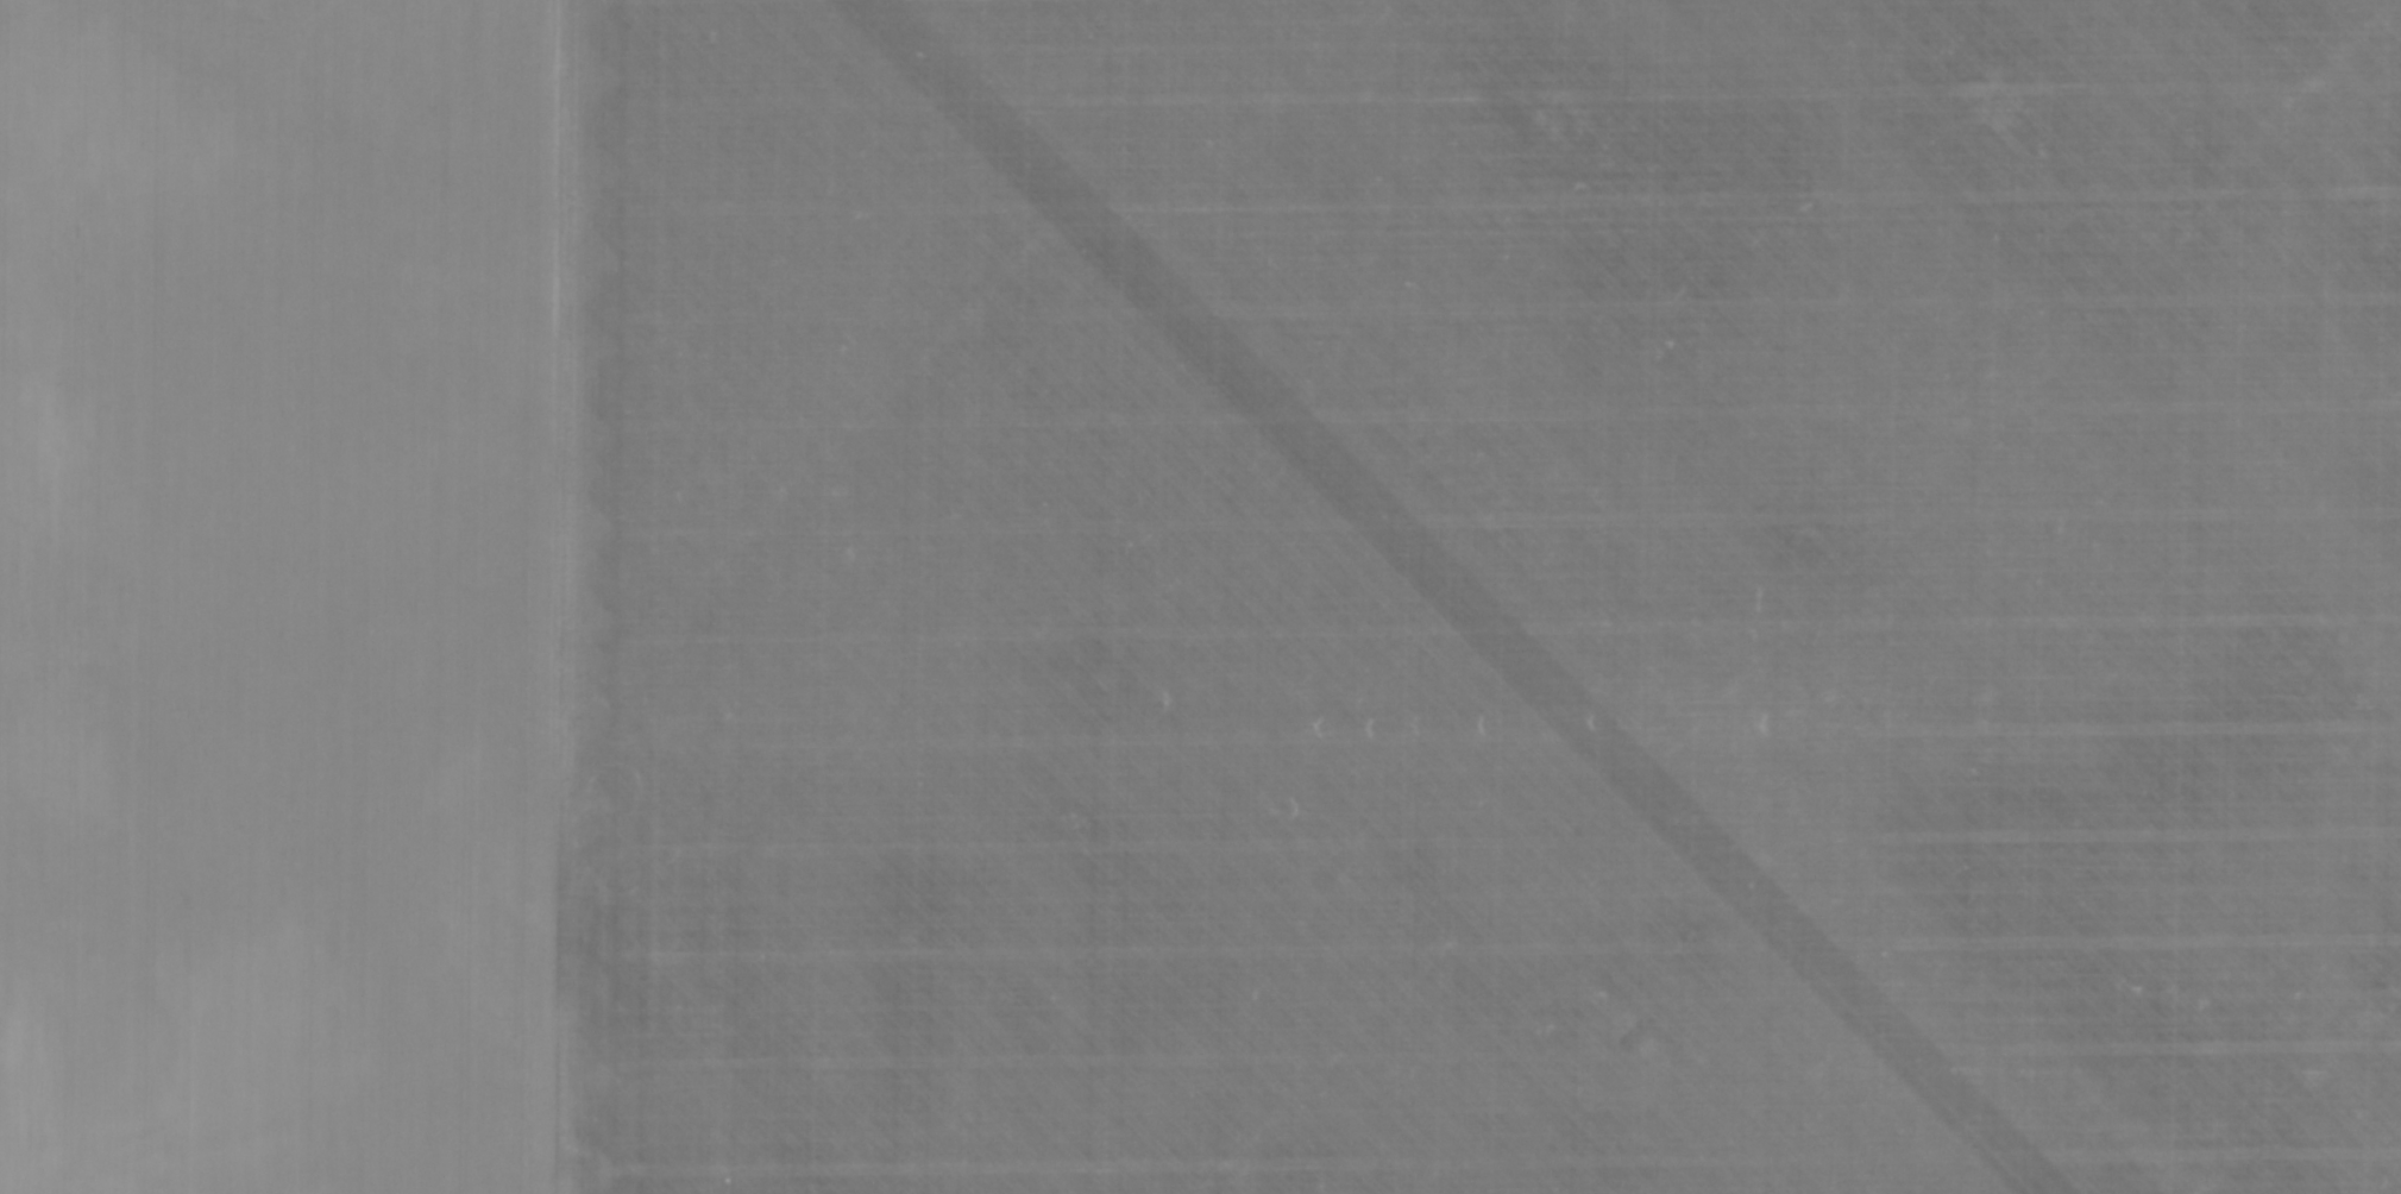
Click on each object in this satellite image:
crop: (1200, 597)

